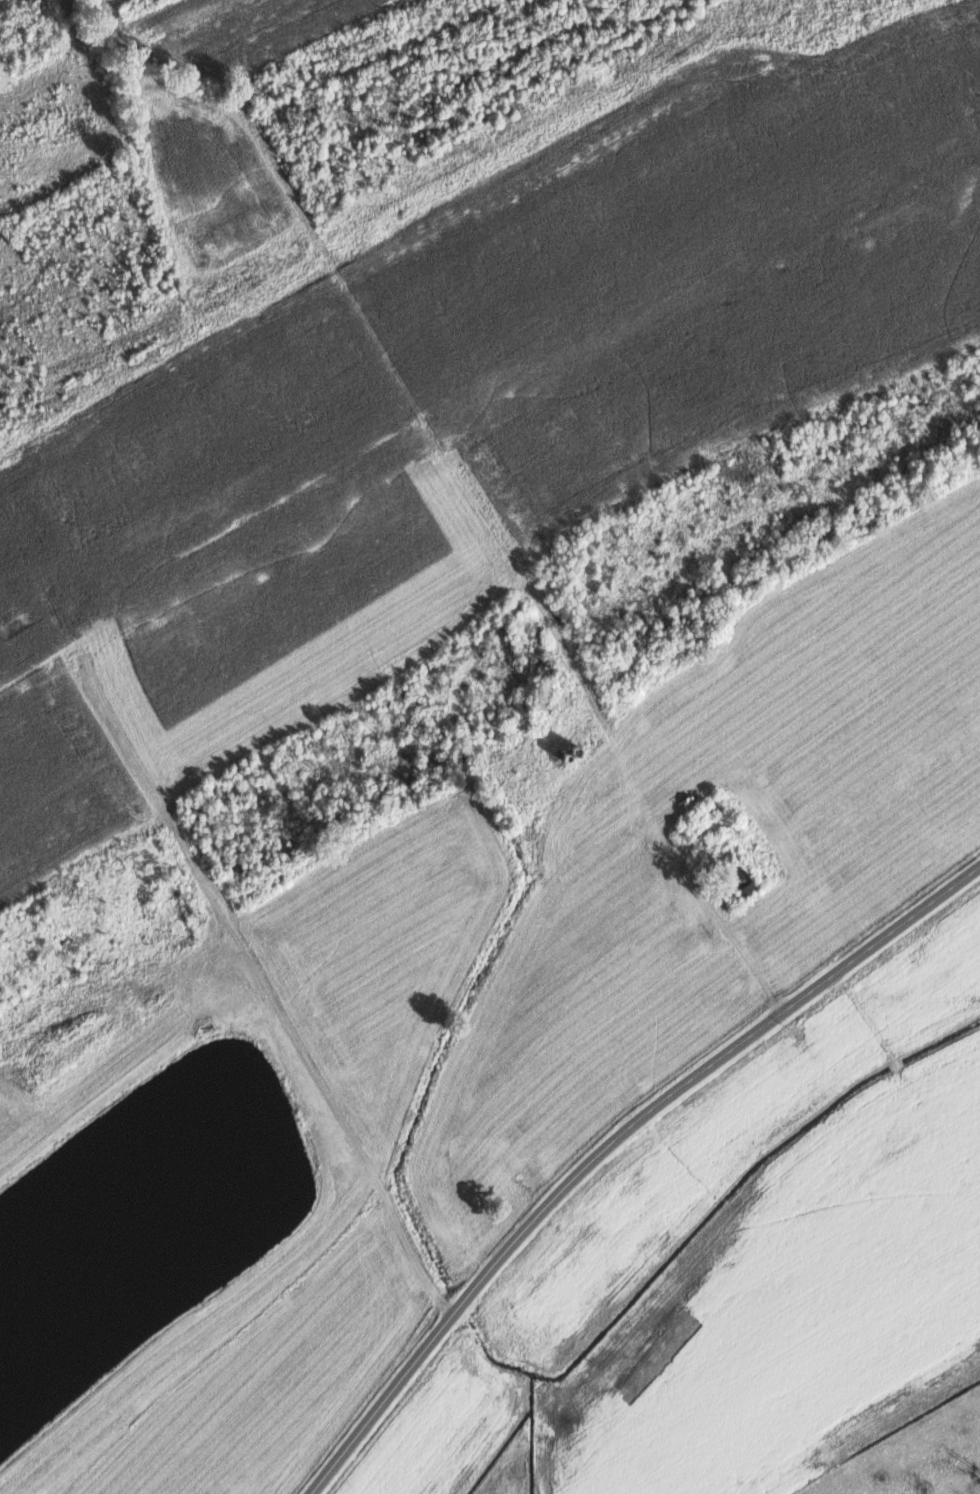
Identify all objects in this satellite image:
road: (610, 1142)

